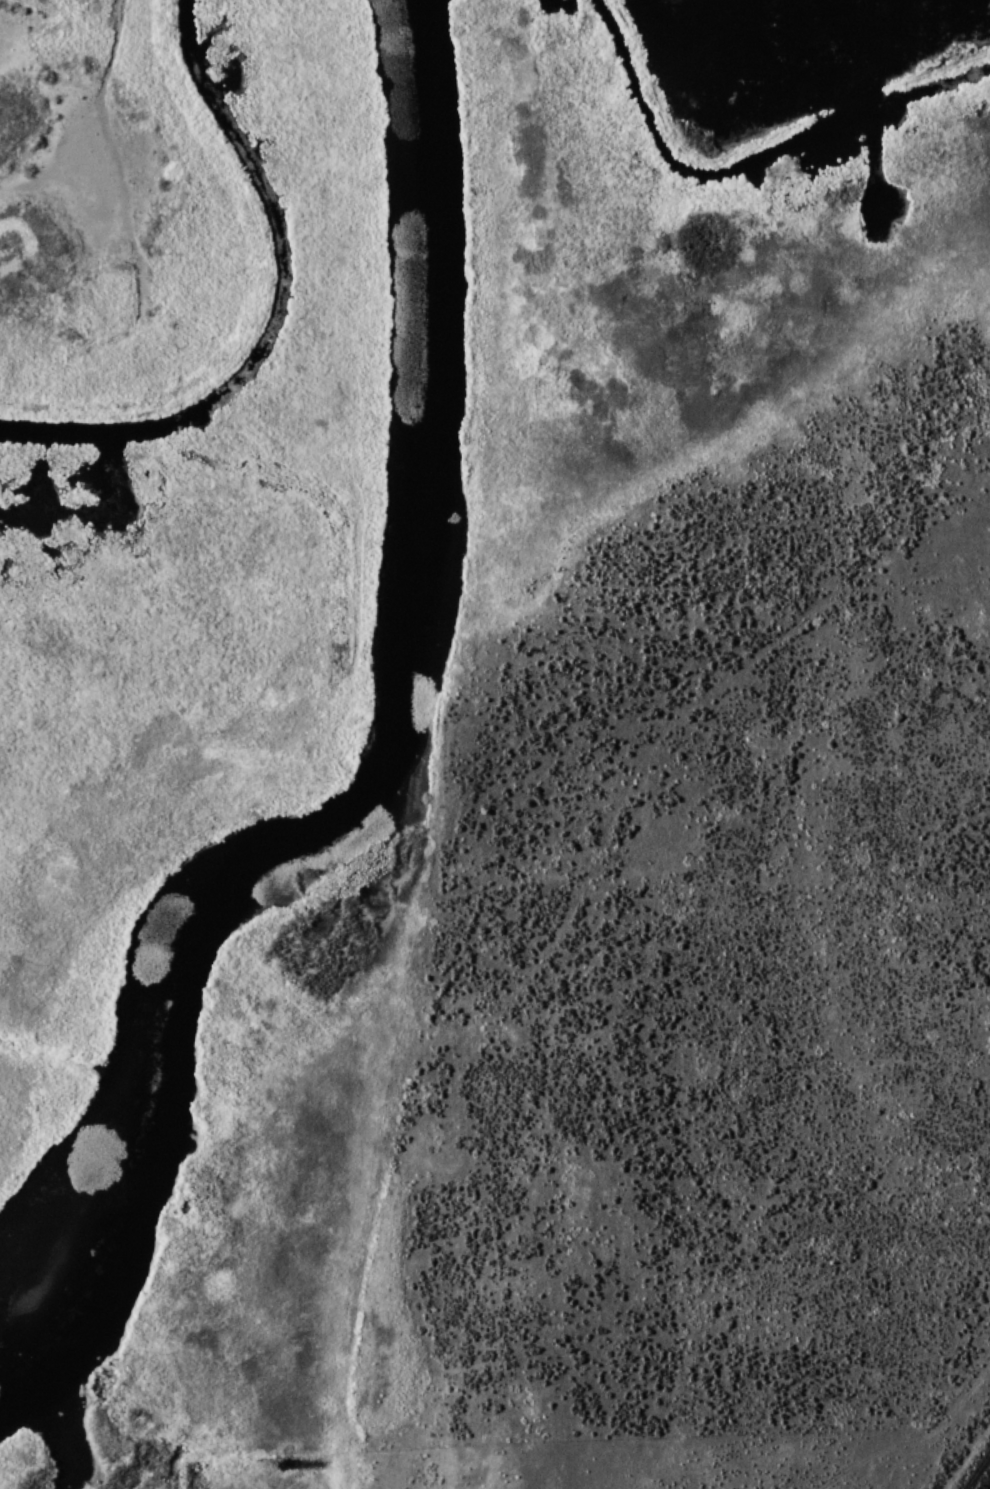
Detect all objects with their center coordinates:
river: (402, 761)
railway: (978, 1471)

